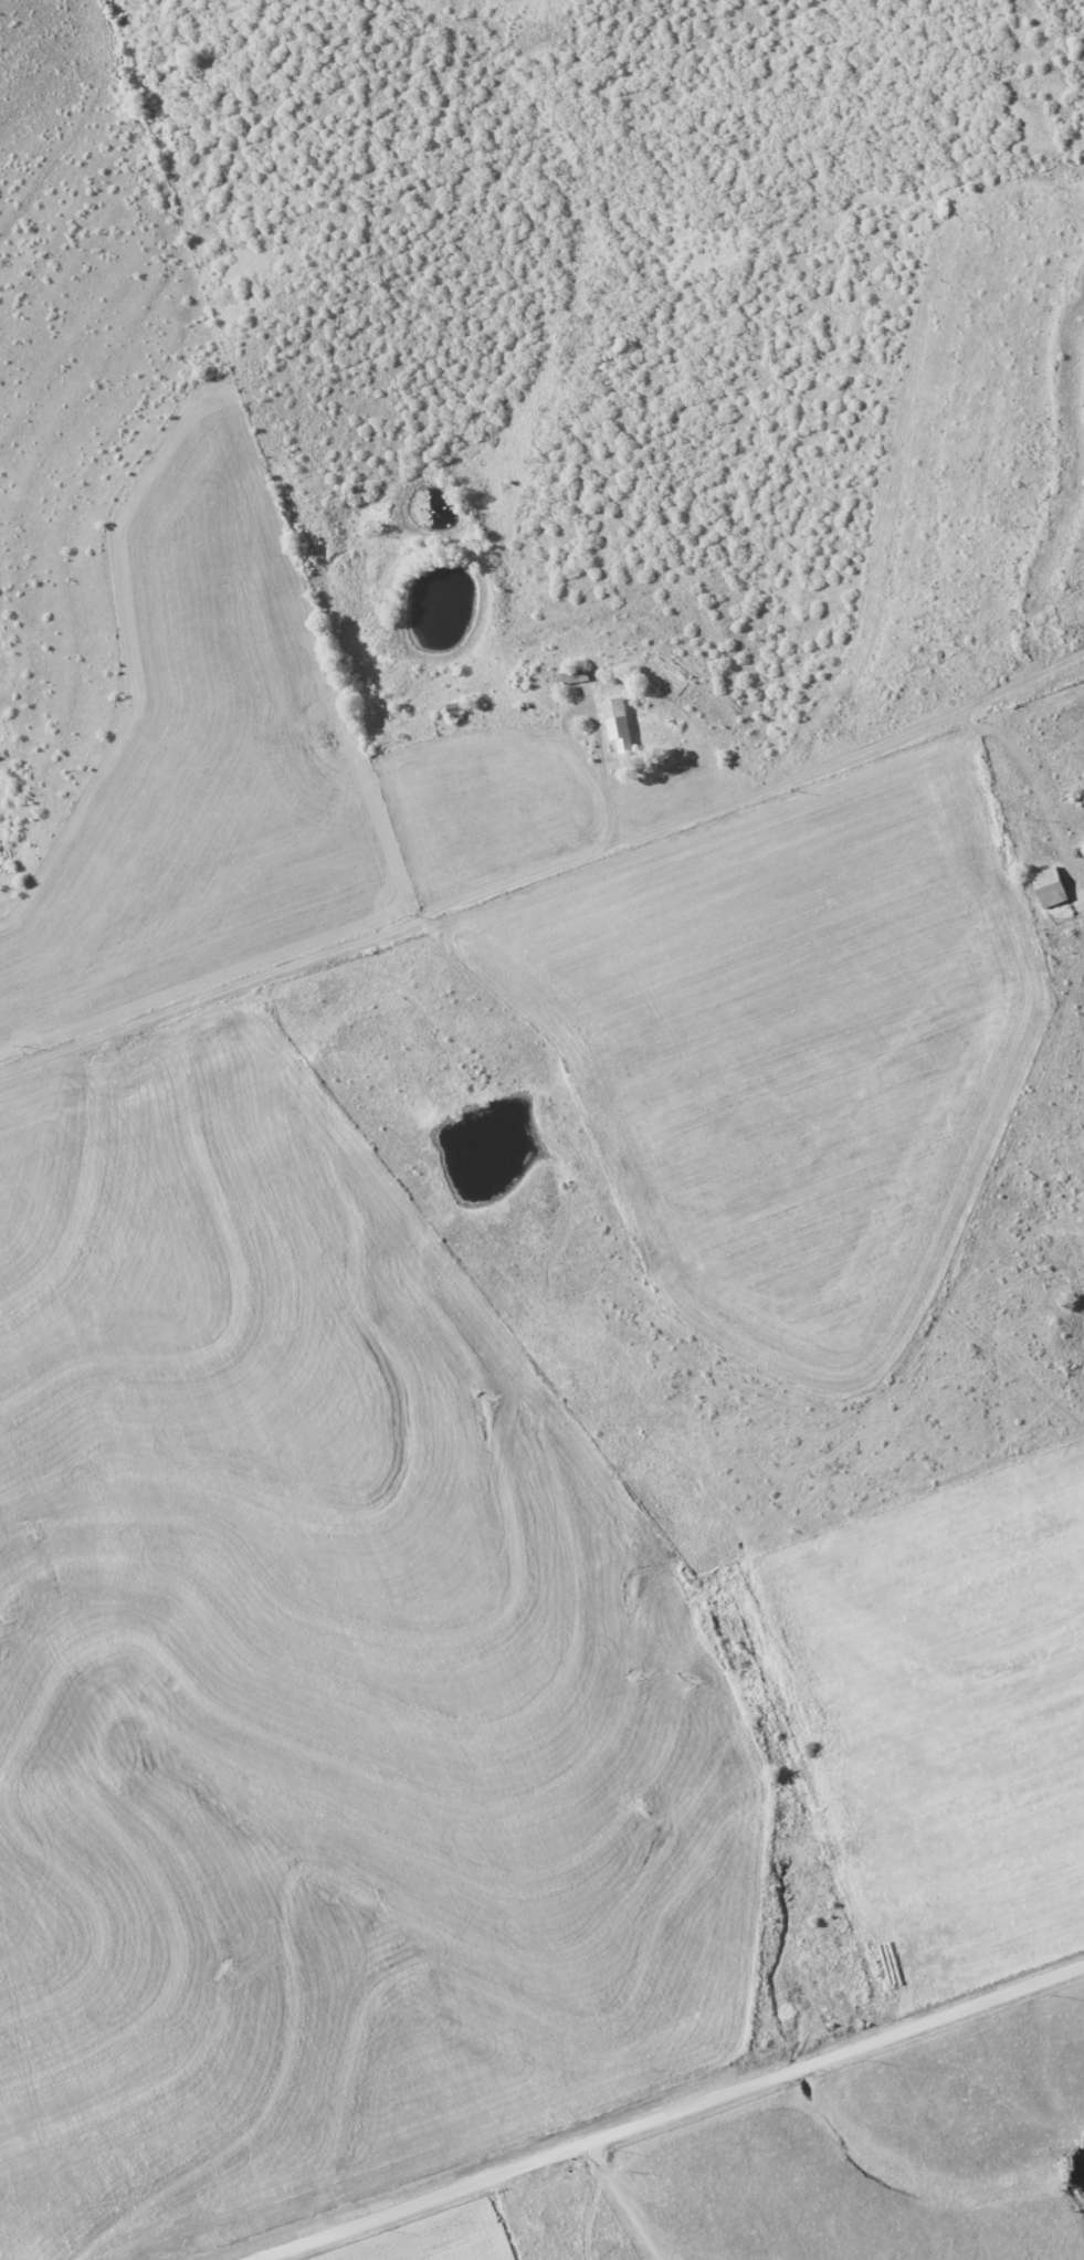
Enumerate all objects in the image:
building: (620, 723)
road: (607, 792)
building: (1050, 886)
road: (309, 959)
road: (675, 2122)
road: (592, 2203)
road: (632, 2215)

